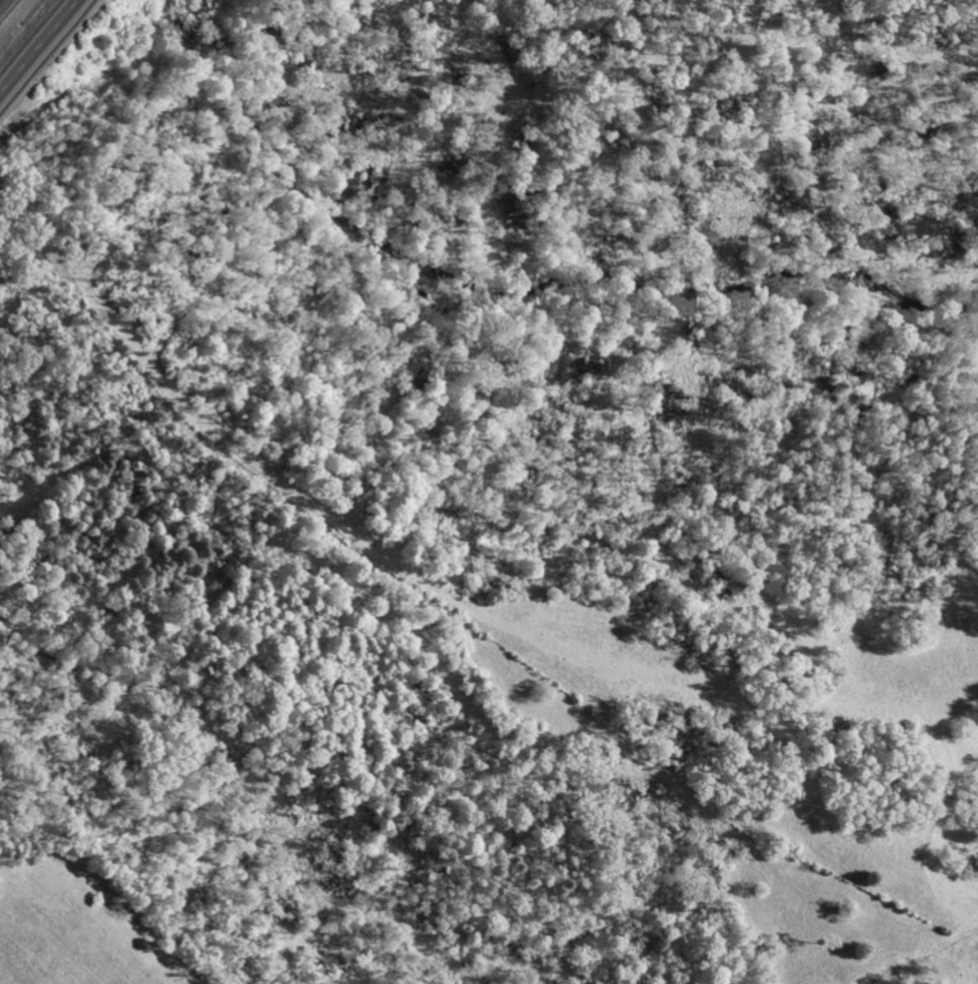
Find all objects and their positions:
road: (3, 4)
road: (46, 62)

